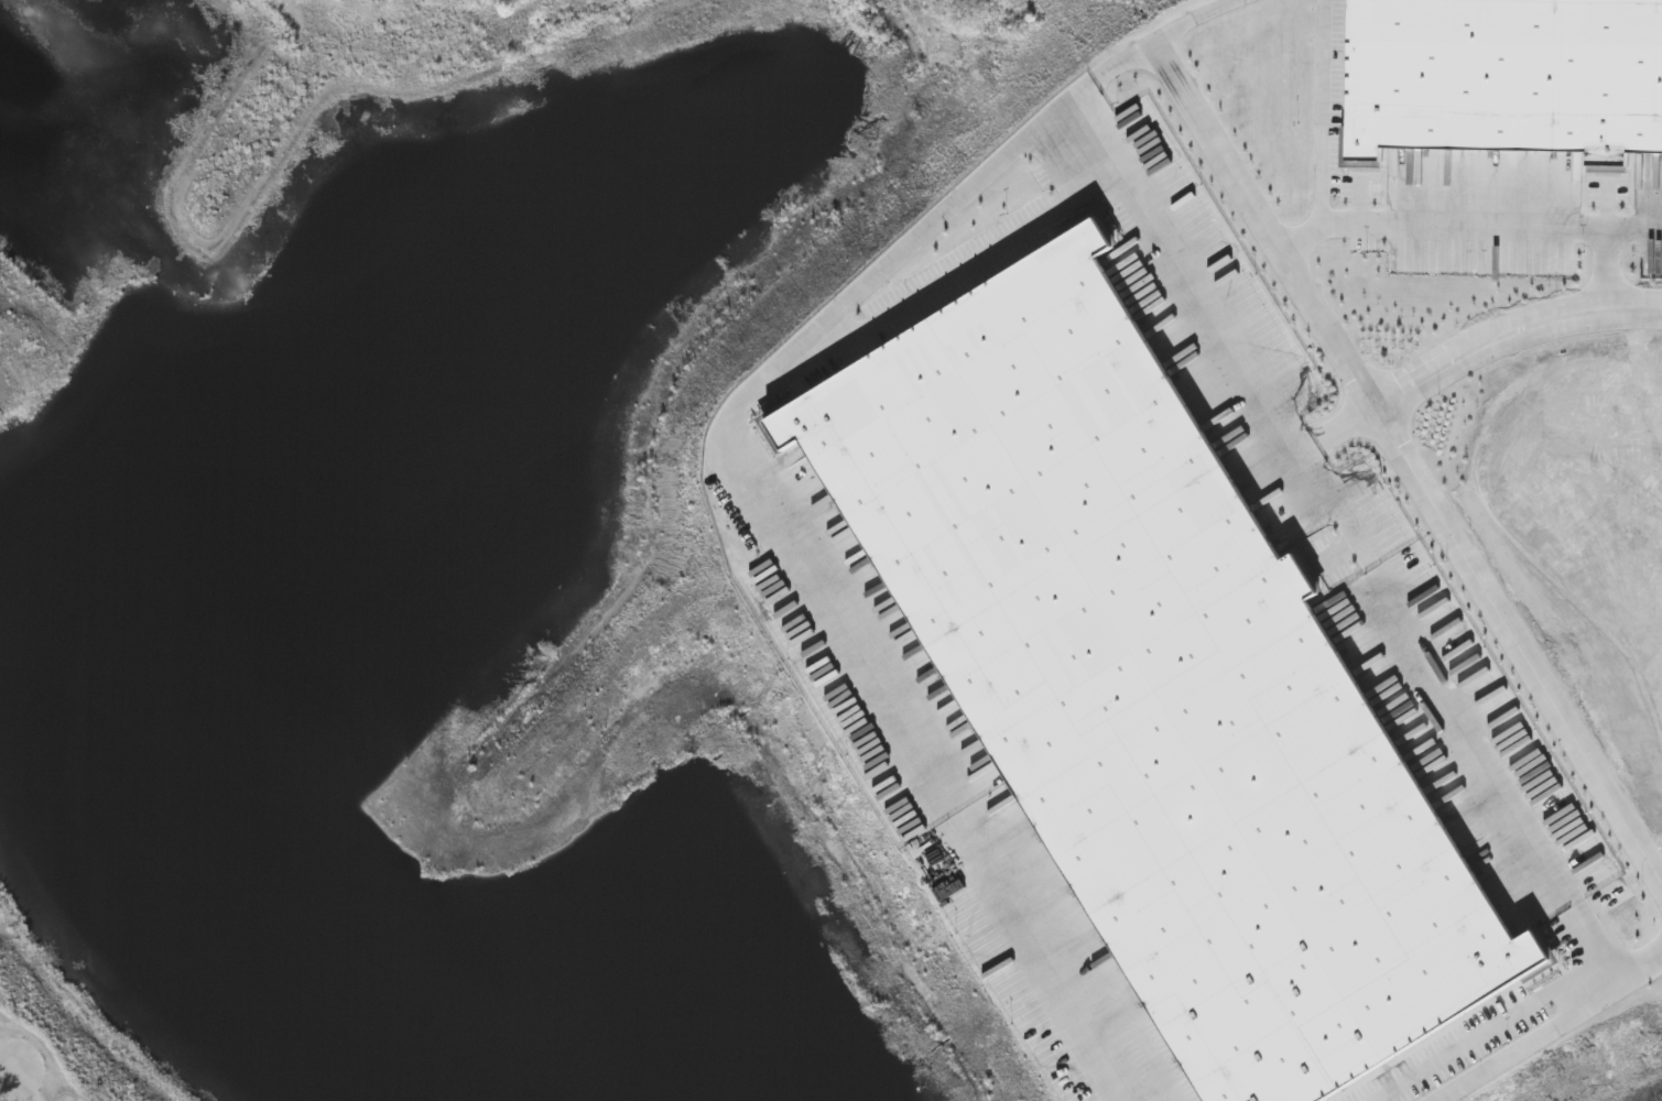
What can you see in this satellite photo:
road: (1215, 20)
building: (1503, 76)
road: (1098, 79)
road: (1492, 227)
road: (1643, 229)
road: (1511, 335)
road: (747, 406)
road: (1339, 435)
road: (1410, 462)
building: (1160, 676)
road: (1512, 805)
road: (1623, 982)
road: (3, 1095)

